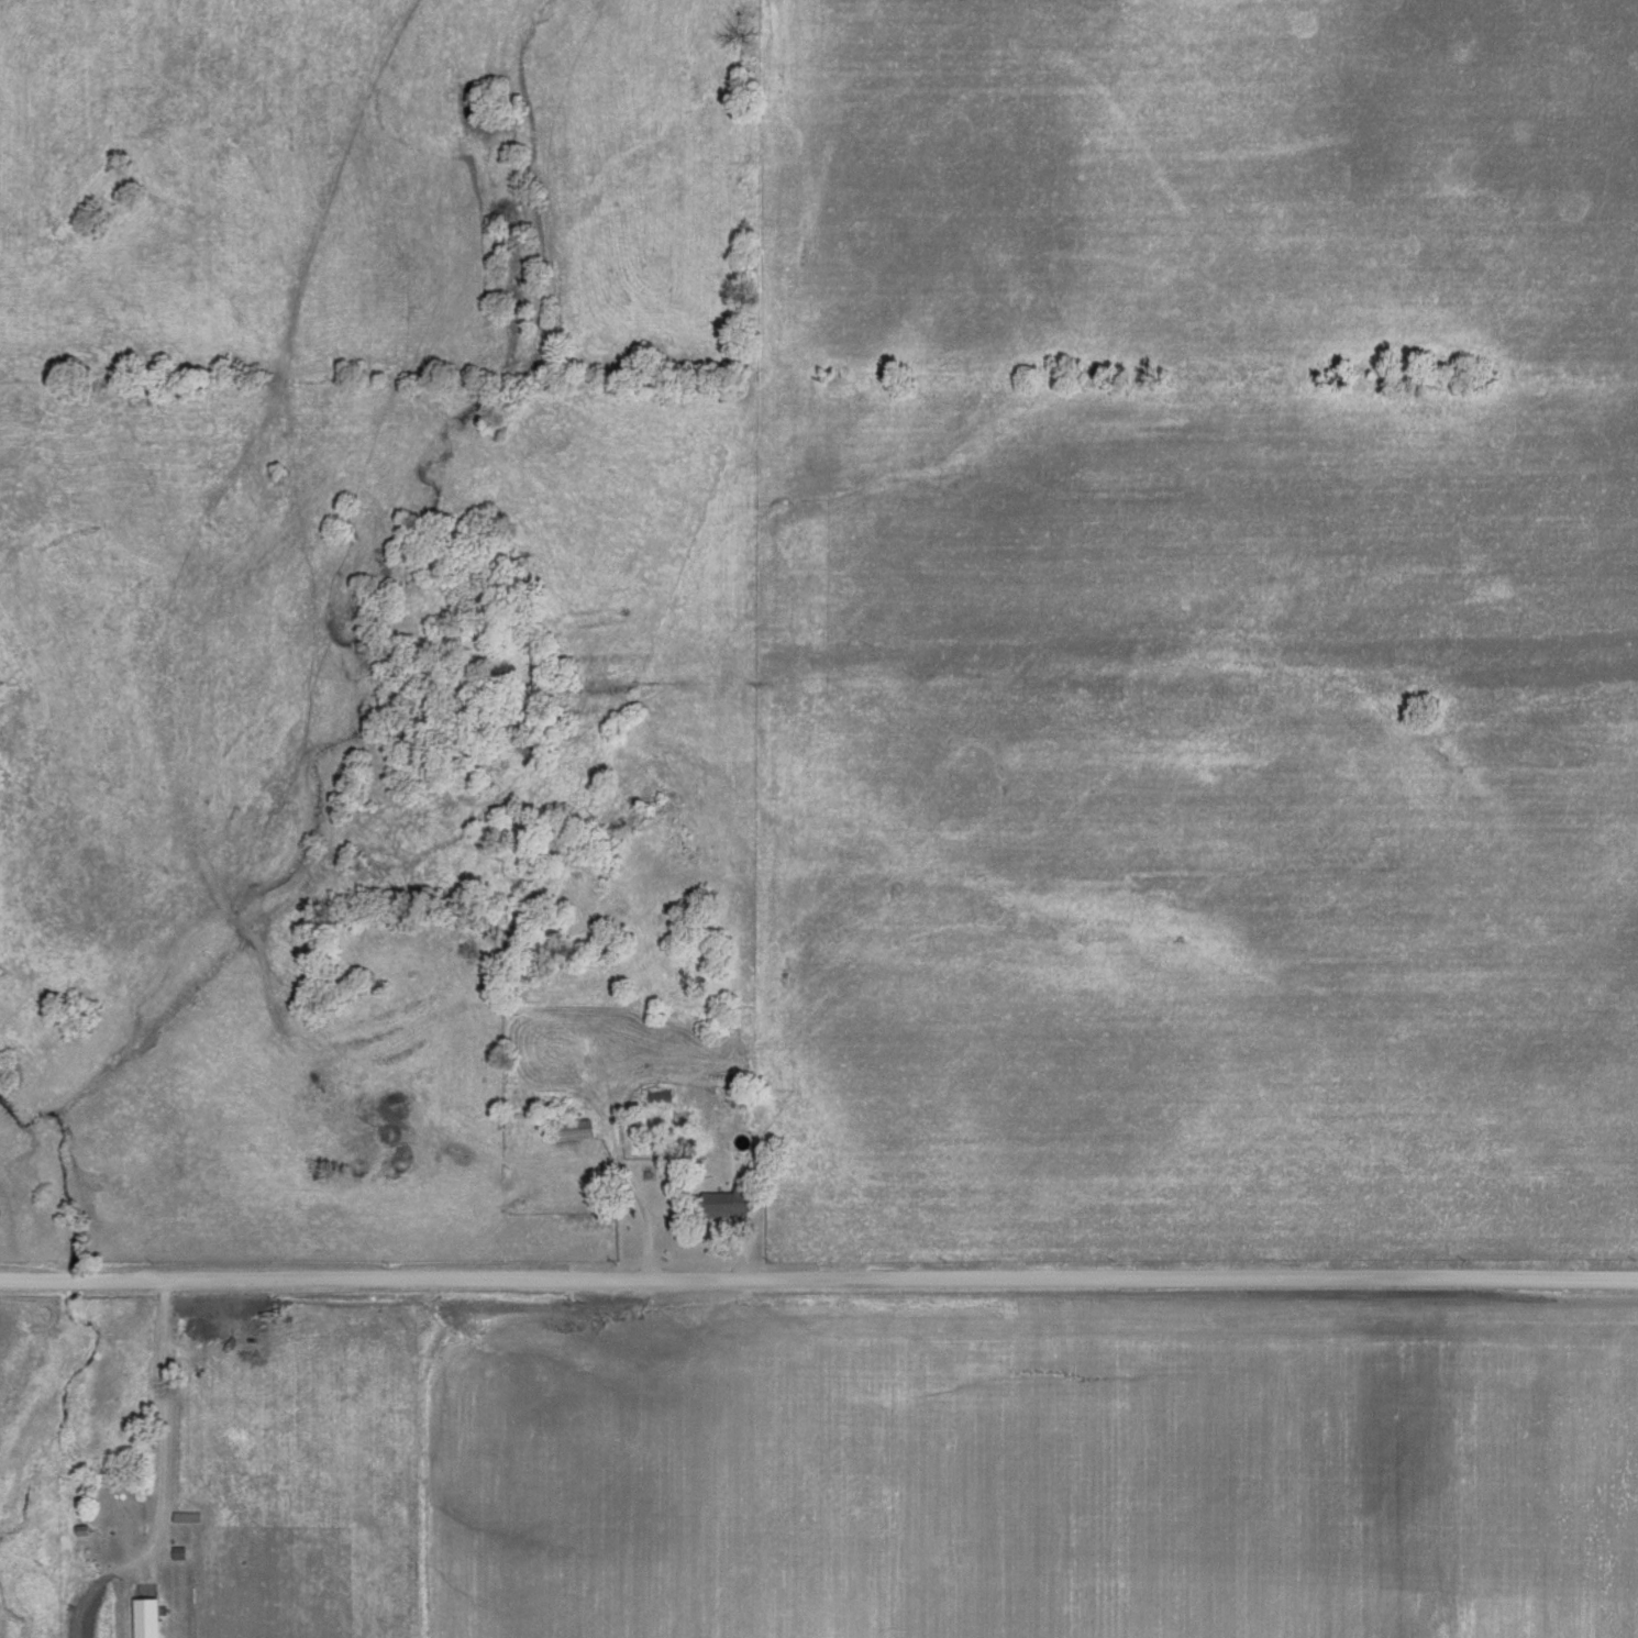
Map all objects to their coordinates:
road: (660, 1198)
building: (722, 1205)
road: (818, 1283)
road: (173, 1426)

